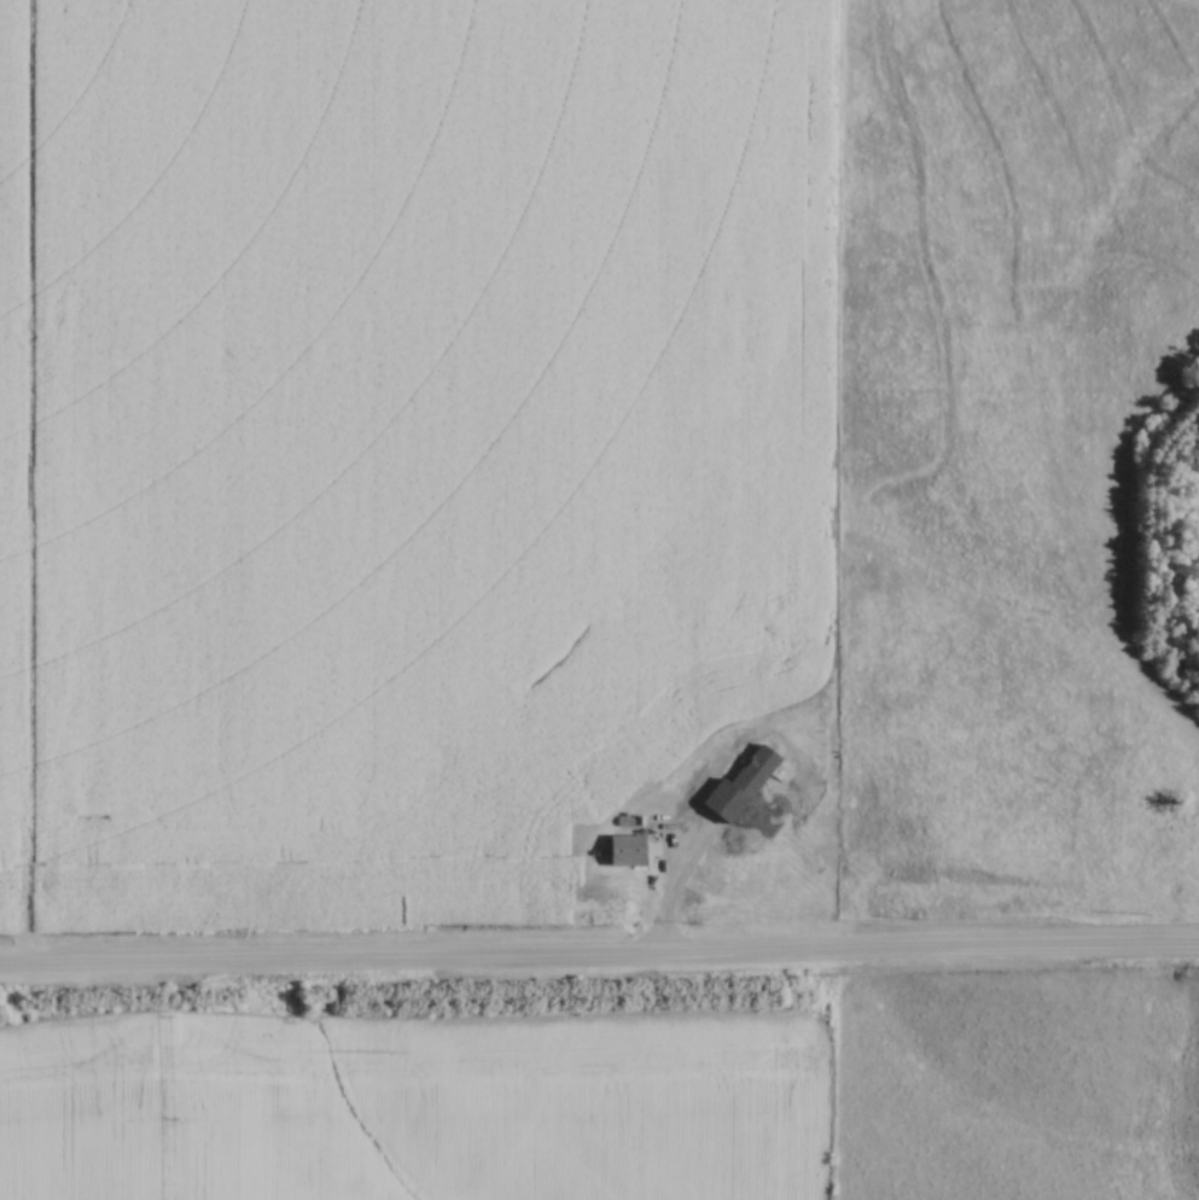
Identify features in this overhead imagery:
road: (11, 691)
road: (599, 961)

